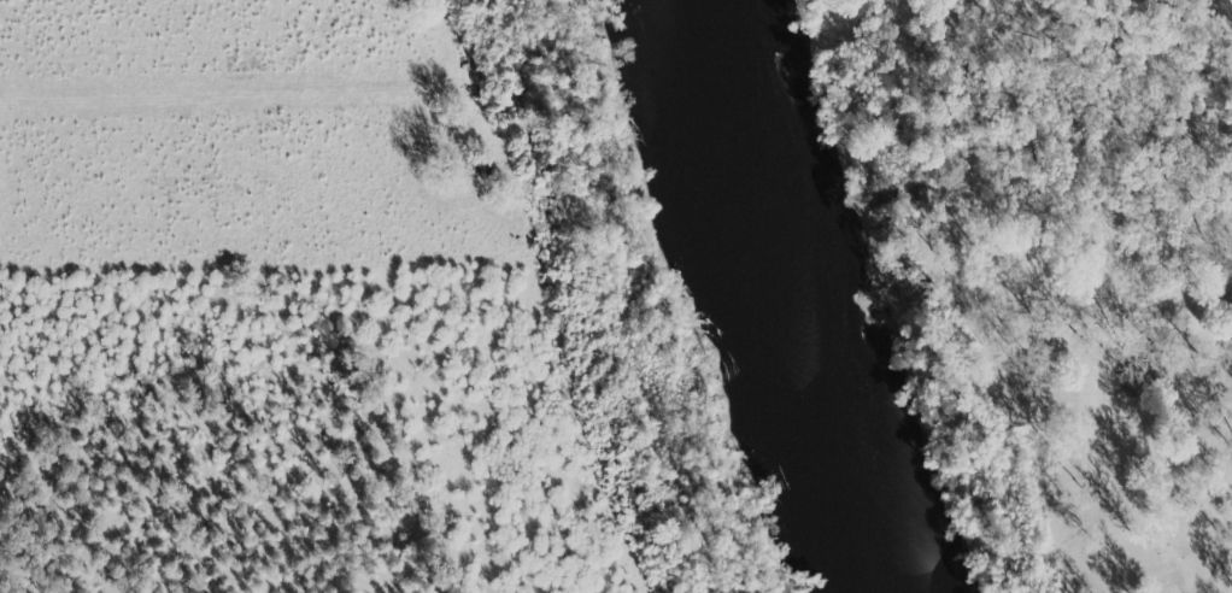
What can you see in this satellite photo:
river: (805, 295)

